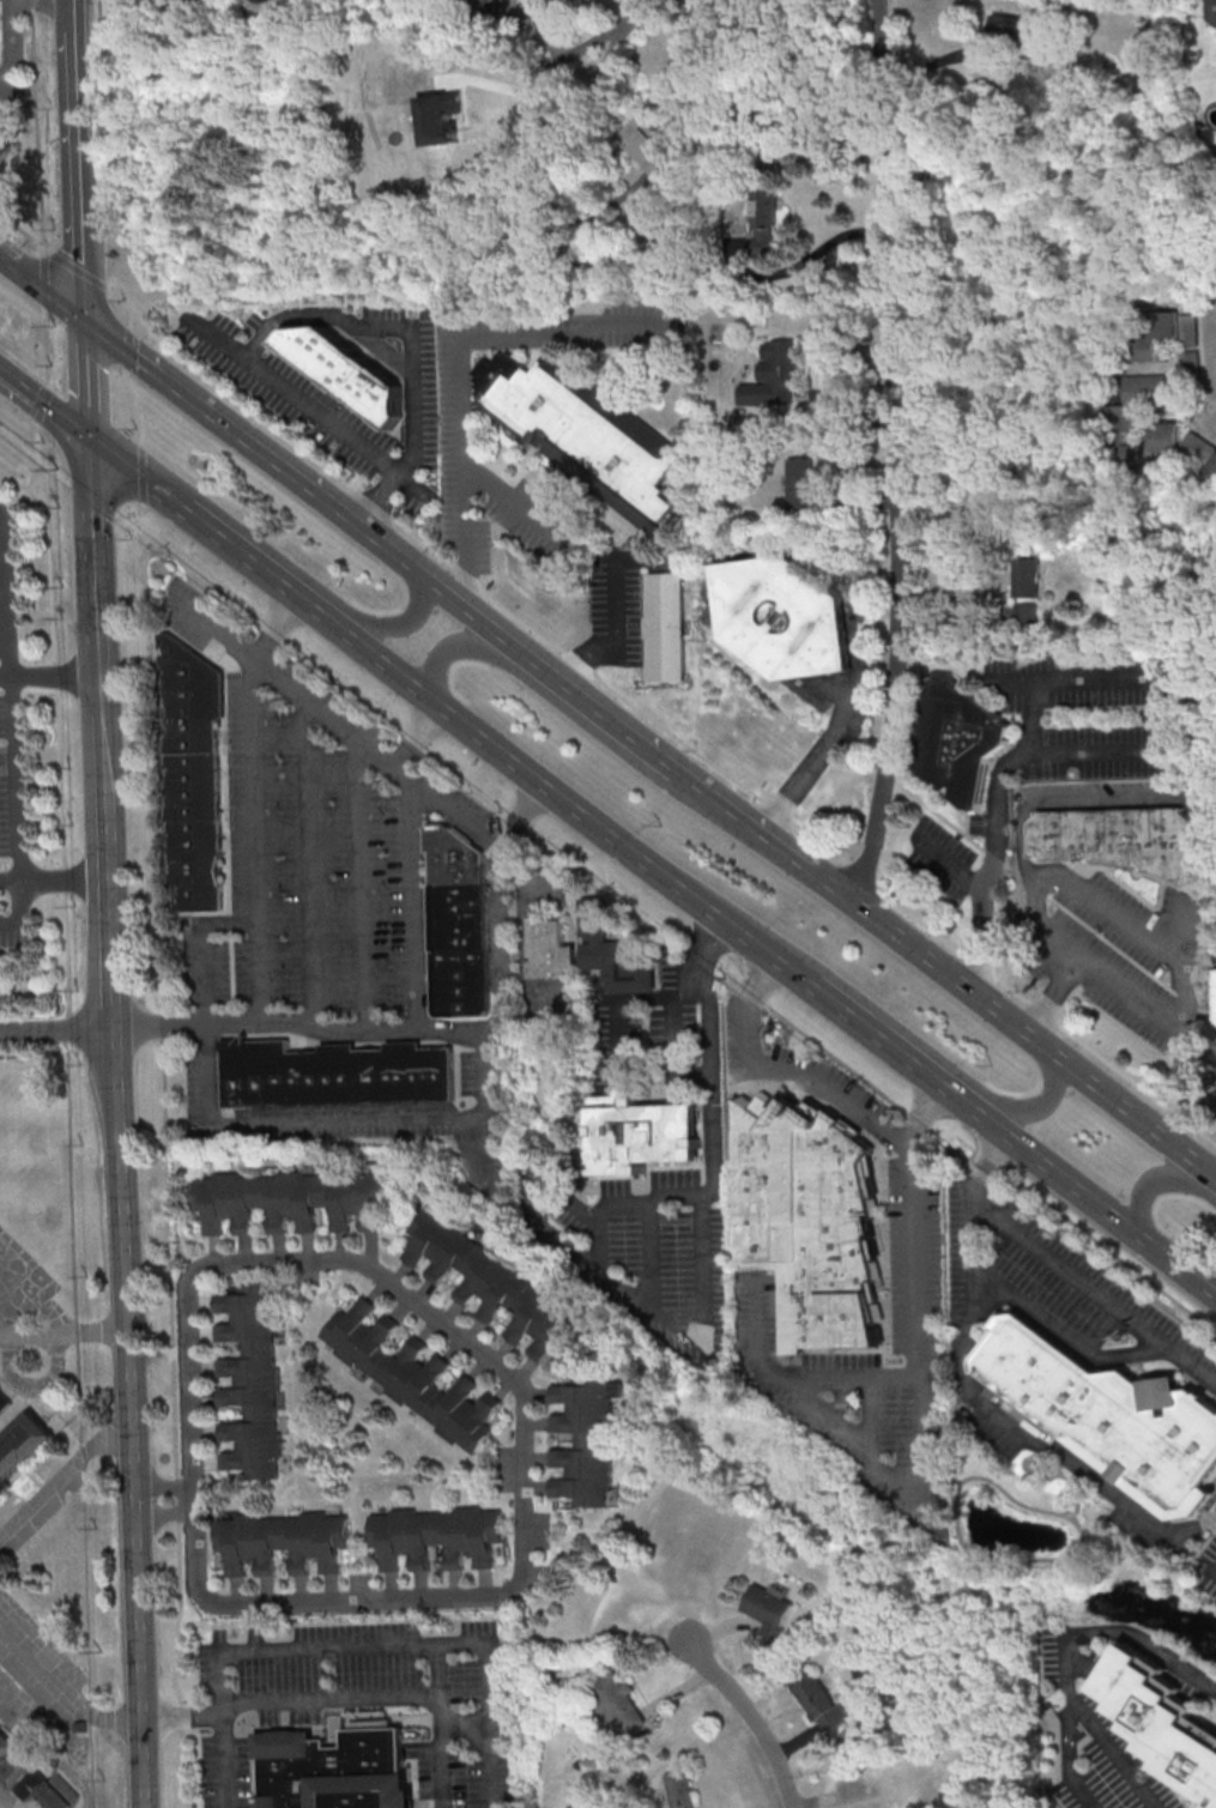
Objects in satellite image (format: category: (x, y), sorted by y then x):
road: (177, 0)
building: (489, 0)
building: (1209, 11)
building: (1009, 29)
road: (10, 40)
road: (594, 49)
building: (440, 116)
building: (645, 144)
road: (74, 163)
building: (763, 220)
road: (22, 230)
road: (74, 267)
road: (42, 295)
road: (122, 304)
traffic signals: (85, 327)
building: (1154, 332)
road: (367, 340)
building: (1186, 341)
road: (125, 347)
road: (460, 365)
building: (772, 375)
building: (344, 376)
road: (86, 383)
road: (1214, 394)
road: (43, 404)
road: (132, 405)
road: (317, 413)
building: (1117, 415)
road: (220, 427)
building: (582, 434)
traffic signals: (89, 440)
road: (18, 443)
building: (1196, 445)
road: (901, 453)
building: (1211, 467)
road: (139, 472)
road: (59, 474)
road: (135, 474)
building: (799, 483)
road: (89, 497)
road: (516, 503)
road: (50, 507)
road: (93, 560)
road: (262, 568)
building: (1026, 576)
road: (435, 589)
road: (8, 597)
building: (1026, 613)
building: (784, 619)
road: (855, 623)
road: (393, 624)
road: (273, 625)
building: (666, 628)
road: (615, 637)
road: (459, 645)
road: (539, 666)
road: (55, 676)
road: (6, 677)
road: (283, 681)
road: (611, 720)
road: (669, 731)
road: (1026, 732)
road: (419, 734)
building: (962, 743)
road: (1088, 751)
building: (189, 775)
road: (1158, 800)
road: (732, 814)
road: (587, 815)
road: (17, 823)
road: (477, 829)
building: (1118, 841)
road: (305, 860)
road: (10, 881)
road: (358, 883)
road: (984, 900)
road: (19, 912)
road: (673, 919)
building: (456, 924)
road: (706, 949)
building: (551, 951)
building: (613, 956)
road: (1179, 966)
road: (498, 978)
road: (766, 985)
building: (1215, 987)
road: (617, 1016)
road: (284, 1020)
road: (186, 1022)
road: (1005, 1022)
road: (58, 1027)
road: (674, 1042)
road: (907, 1059)
building: (333, 1074)
road: (712, 1087)
road: (1187, 1090)
road: (1032, 1108)
road: (267, 1124)
road: (927, 1124)
building: (641, 1133)
road: (488, 1150)
road: (163, 1157)
road: (1210, 1180)
road: (1154, 1184)
building: (289, 1198)
road: (1099, 1204)
building: (805, 1217)
road: (598, 1241)
road: (122, 1244)
road: (581, 1251)
road: (649, 1254)
road: (1061, 1269)
building: (494, 1286)
road: (1037, 1312)
road: (62, 1332)
road: (925, 1352)
building: (411, 1374)
road: (858, 1378)
building: (248, 1380)
building: (4, 1401)
building: (1108, 1414)
road: (871, 1415)
building: (586, 1441)
building: (20, 1444)
road: (1045, 1445)
road: (59, 1474)
road: (193, 1499)
building: (436, 1535)
building: (282, 1540)
road: (476, 1597)
building: (769, 1610)
road: (365, 1644)
road: (1063, 1655)
road: (13, 1676)
road: (54, 1694)
building: (617, 1700)
building: (818, 1700)
road: (363, 1703)
road: (754, 1717)
building: (1161, 1719)
road: (467, 1723)
road: (443, 1753)
road: (1067, 1758)
road: (225, 1759)
building: (17, 1767)
building: (331, 1770)
building: (679, 1789)
building: (58, 1792)
road: (6, 1802)

